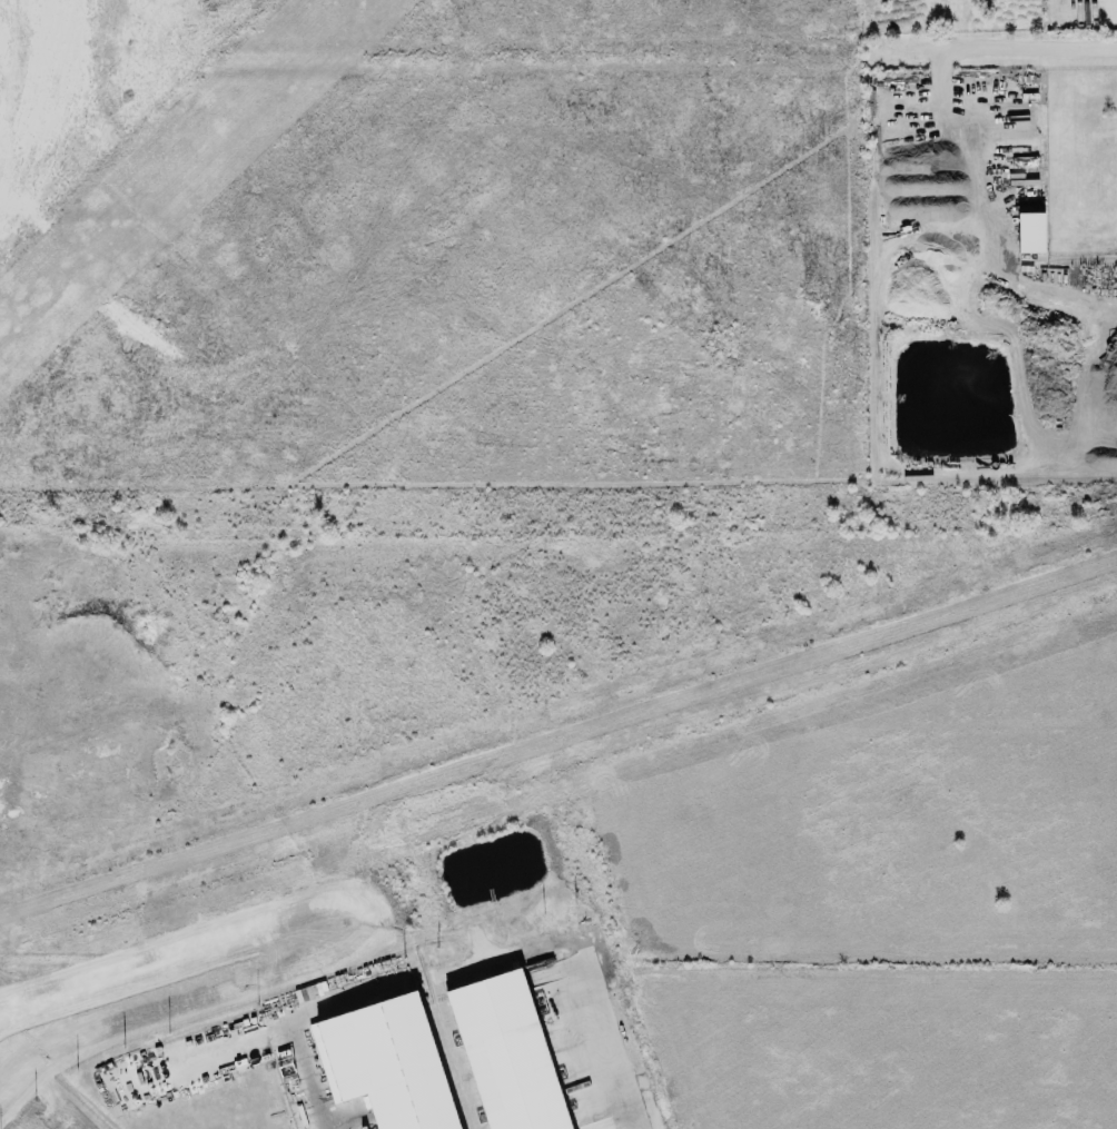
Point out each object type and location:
road: (1038, 47)
building: (1019, 156)
road: (978, 176)
building: (1031, 232)
road: (1081, 300)
road: (250, 1032)
road: (609, 1043)
building: (505, 1052)
building: (384, 1062)

